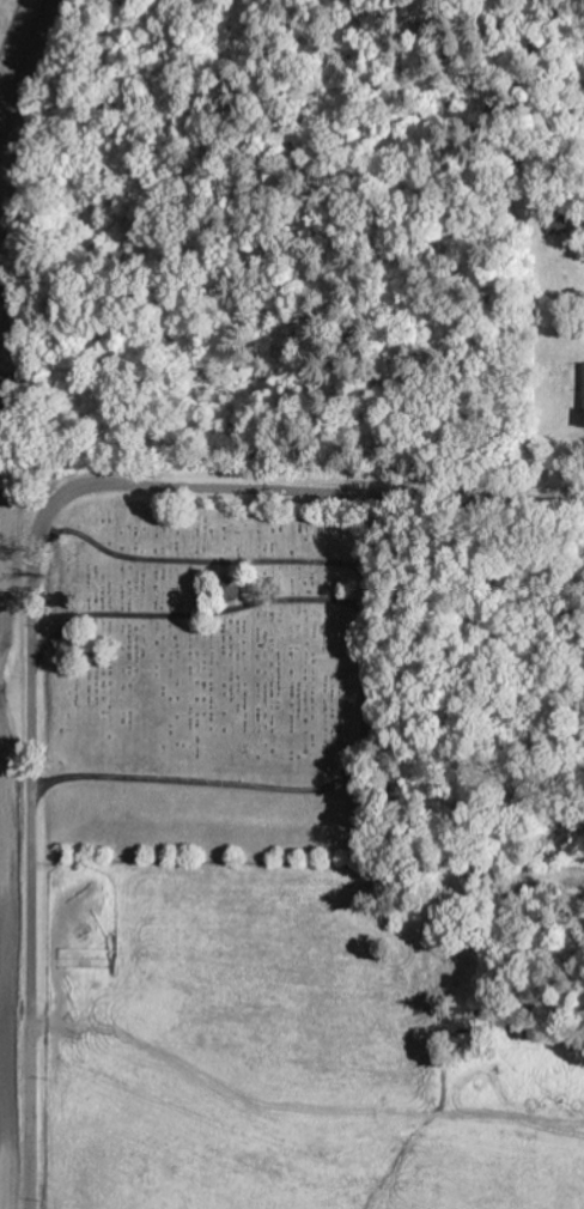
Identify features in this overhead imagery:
road: (17, 45)
road: (30, 585)

